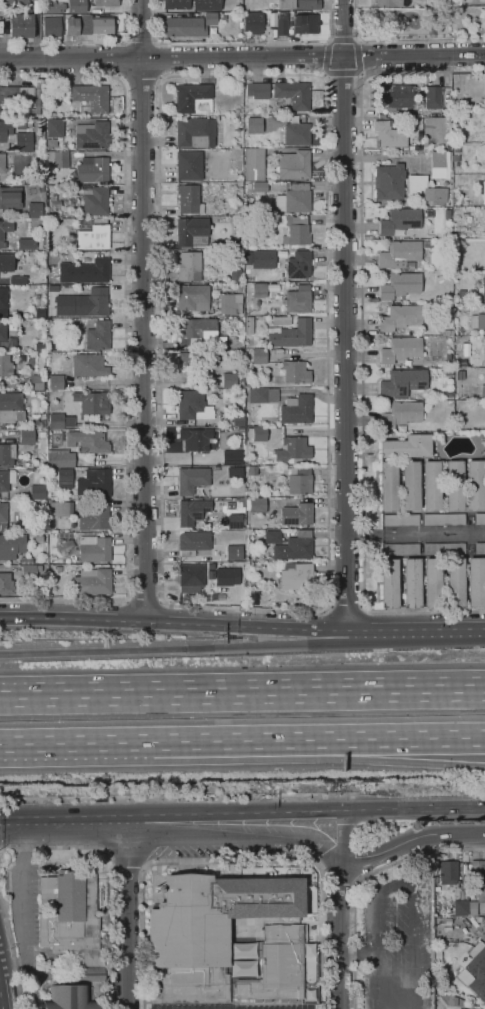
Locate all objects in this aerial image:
building: (484, 1)
building: (16, 2)
building: (104, 2)
building: (389, 3)
building: (176, 4)
building: (297, 4)
building: (207, 5)
building: (421, 5)
building: (76, 6)
building: (54, 7)
building: (237, 8)
building: (480, 10)
building: (211, 18)
building: (253, 22)
building: (294, 23)
building: (22, 25)
building: (72, 25)
building: (101, 25)
building: (184, 27)
building: (51, 28)
road: (140, 40)
road: (84, 41)
road: (343, 41)
road: (399, 41)
road: (242, 44)
road: (242, 56)
road: (361, 58)
road: (116, 59)
road: (161, 63)
road: (342, 74)
road: (140, 80)
building: (258, 90)
building: (28, 91)
building: (484, 91)
building: (9, 93)
building: (420, 93)
building: (294, 94)
building: (396, 96)
building: (433, 96)
building: (92, 97)
building: (194, 98)
building: (283, 104)
building: (37, 106)
building: (237, 112)
building: (237, 118)
building: (418, 122)
building: (21, 124)
building: (253, 124)
building: (54, 128)
building: (5, 130)
building: (193, 131)
building: (298, 132)
building: (415, 133)
building: (92, 135)
building: (456, 135)
building: (395, 137)
building: (23, 140)
building: (52, 143)
building: (457, 149)
building: (59, 158)
building: (457, 158)
building: (2, 163)
building: (254, 163)
building: (294, 164)
building: (189, 165)
building: (457, 165)
building: (441, 168)
building: (93, 169)
building: (72, 177)
building: (239, 178)
building: (388, 181)
building: (258, 186)
building: (426, 189)
building: (31, 190)
building: (484, 192)
building: (11, 197)
building: (188, 198)
building: (294, 198)
building: (93, 199)
building: (70, 201)
building: (246, 201)
building: (57, 203)
building: (238, 209)
building: (35, 210)
building: (457, 211)
building: (251, 212)
building: (483, 213)
building: (400, 221)
building: (294, 229)
building: (191, 230)
building: (2, 236)
building: (94, 237)
building: (26, 243)
building: (483, 243)
building: (427, 244)
building: (399, 254)
building: (44, 255)
building: (17, 259)
building: (263, 259)
building: (6, 262)
building: (299, 264)
building: (189, 265)
building: (85, 270)
building: (42, 275)
building: (235, 275)
building: (50, 277)
building: (18, 280)
building: (222, 285)
building: (401, 285)
building: (483, 288)
building: (223, 290)
building: (260, 290)
building: (193, 297)
building: (298, 299)
building: (3, 301)
building: (231, 303)
building: (91, 304)
building: (466, 305)
road: (142, 307)
building: (51, 310)
building: (41, 313)
road: (345, 315)
building: (400, 318)
building: (282, 320)
building: (478, 321)
building: (249, 325)
building: (14, 326)
building: (3, 328)
building: (199, 332)
building: (449, 332)
building: (291, 334)
building: (99, 335)
road: (362, 340)
building: (483, 341)
road: (125, 342)
building: (41, 348)
building: (186, 348)
building: (401, 349)
building: (260, 355)
building: (108, 359)
building: (11, 362)
building: (194, 362)
building: (88, 365)
building: (296, 371)
building: (449, 371)
building: (53, 372)
building: (460, 374)
building: (231, 379)
building: (36, 382)
building: (56, 382)
building: (401, 382)
building: (483, 390)
building: (39, 394)
building: (448, 394)
building: (262, 395)
building: (92, 403)
building: (193, 405)
building: (11, 408)
building: (297, 409)
building: (401, 414)
building: (61, 420)
building: (240, 421)
building: (258, 433)
building: (27, 437)
building: (196, 439)
building: (88, 441)
building: (407, 446)
building: (483, 446)
building: (292, 448)
building: (7, 454)
building: (230, 457)
building: (61, 459)
building: (29, 468)
building: (252, 470)
building: (64, 478)
building: (6, 479)
building: (192, 479)
building: (300, 480)
building: (94, 482)
building: (454, 484)
building: (475, 484)
building: (411, 485)
building: (432, 485)
building: (388, 486)
building: (38, 492)
building: (36, 504)
building: (257, 504)
building: (61, 508)
building: (192, 511)
building: (296, 514)
building: (3, 516)
building: (95, 517)
building: (479, 518)
building: (235, 519)
building: (401, 519)
building: (444, 519)
building: (74, 529)
road: (416, 534)
building: (217, 535)
building: (39, 538)
building: (193, 543)
building: (291, 544)
building: (12, 545)
building: (64, 546)
building: (95, 548)
building: (401, 548)
building: (444, 548)
building: (480, 548)
building: (237, 554)
building: (53, 557)
building: (31, 560)
building: (58, 569)
building: (238, 570)
building: (30, 571)
building: (296, 575)
building: (225, 576)
building: (191, 577)
building: (92, 581)
building: (476, 581)
building: (249, 582)
building: (412, 582)
building: (432, 582)
building: (455, 582)
building: (389, 583)
building: (6, 584)
building: (257, 592)
road: (144, 598)
road: (329, 604)
road: (345, 607)
road: (122, 616)
road: (175, 617)
road: (169, 619)
road: (113, 630)
road: (417, 630)
road: (176, 650)
road: (242, 696)
road: (407, 738)
road: (240, 740)
road: (76, 742)
road: (403, 761)
road: (157, 797)
road: (414, 808)
road: (234, 816)
road: (63, 824)
road: (235, 832)
road: (341, 834)
road: (410, 839)
road: (232, 860)
road: (111, 863)
road: (128, 863)
road: (144, 864)
building: (477, 865)
building: (446, 871)
road: (109, 876)
road: (359, 879)
road: (397, 884)
building: (478, 895)
building: (461, 907)
road: (126, 915)
building: (72, 920)
building: (207, 930)
road: (338, 933)
parking lot: (397, 942)
road: (11, 954)
building: (438, 955)
road: (357, 956)
building: (241, 959)
building: (279, 967)
building: (475, 970)
building: (68, 998)
building: (452, 1000)
parking lot: (226, 1006)
building: (457, 1008)
building: (461, 1008)

